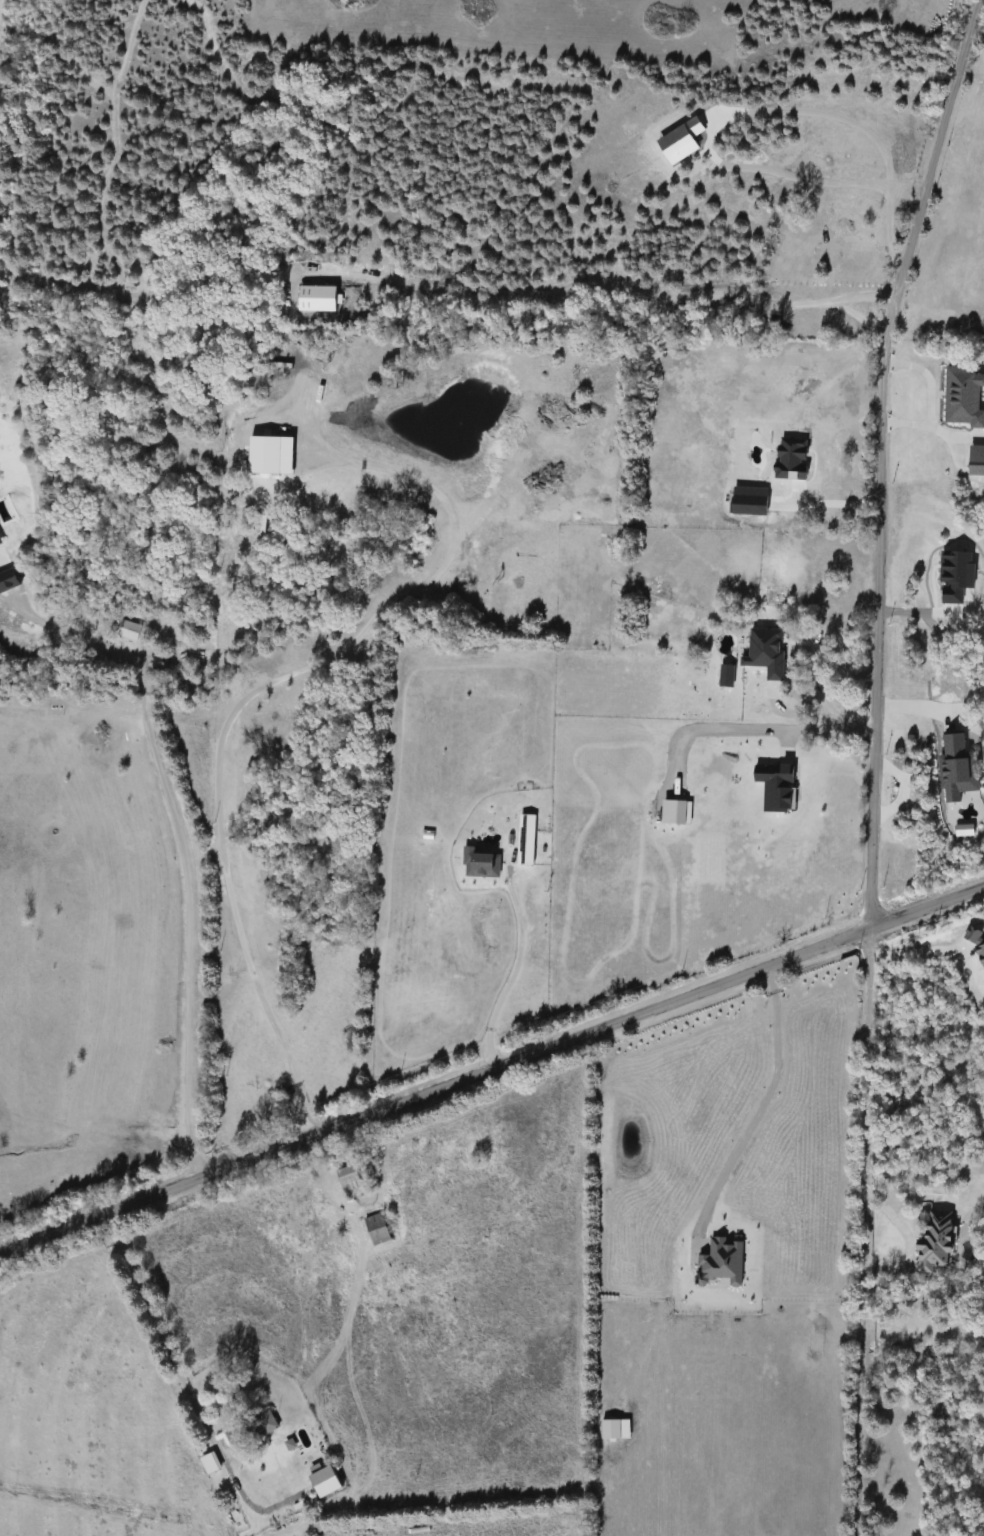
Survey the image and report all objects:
road: (755, 110)
building: (835, 191)
road: (623, 292)
road: (857, 322)
road: (929, 397)
road: (877, 457)
road: (828, 503)
road: (817, 663)
road: (251, 694)
building: (831, 719)
road: (824, 727)
road: (180, 841)
road: (913, 949)
road: (503, 985)
road: (491, 1065)
road: (750, 1101)
building: (981, 1165)
building: (346, 1177)
building: (375, 1229)
road: (862, 1231)
building: (932, 1241)
road: (164, 1349)
building: (258, 1424)

